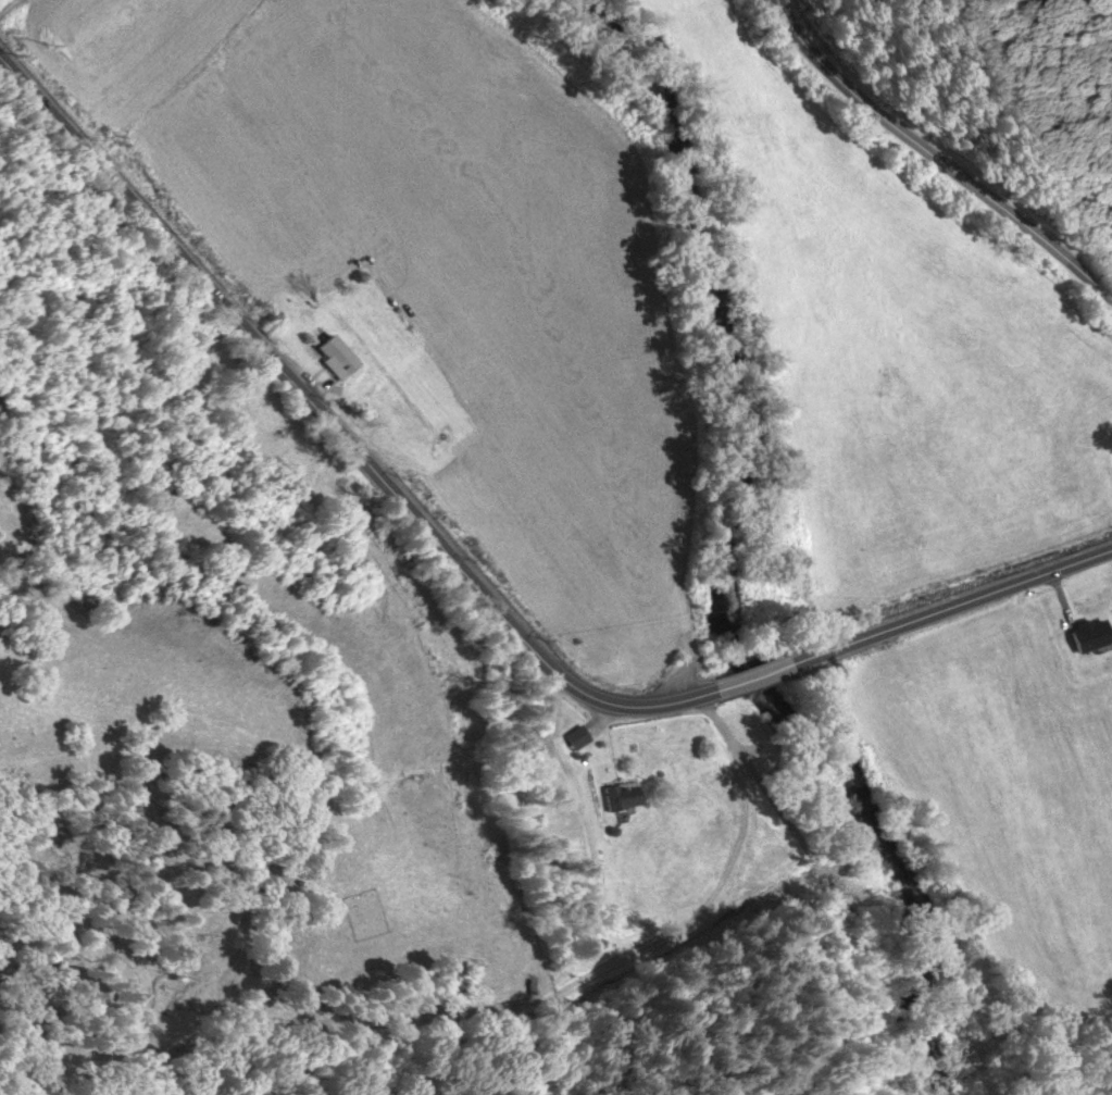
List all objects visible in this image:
road: (944, 153)
crop: (418, 271)
crop: (901, 337)
building: (333, 357)
road: (330, 422)
river: (721, 556)
road: (947, 601)
building: (1089, 634)
road: (744, 671)
building: (623, 795)

